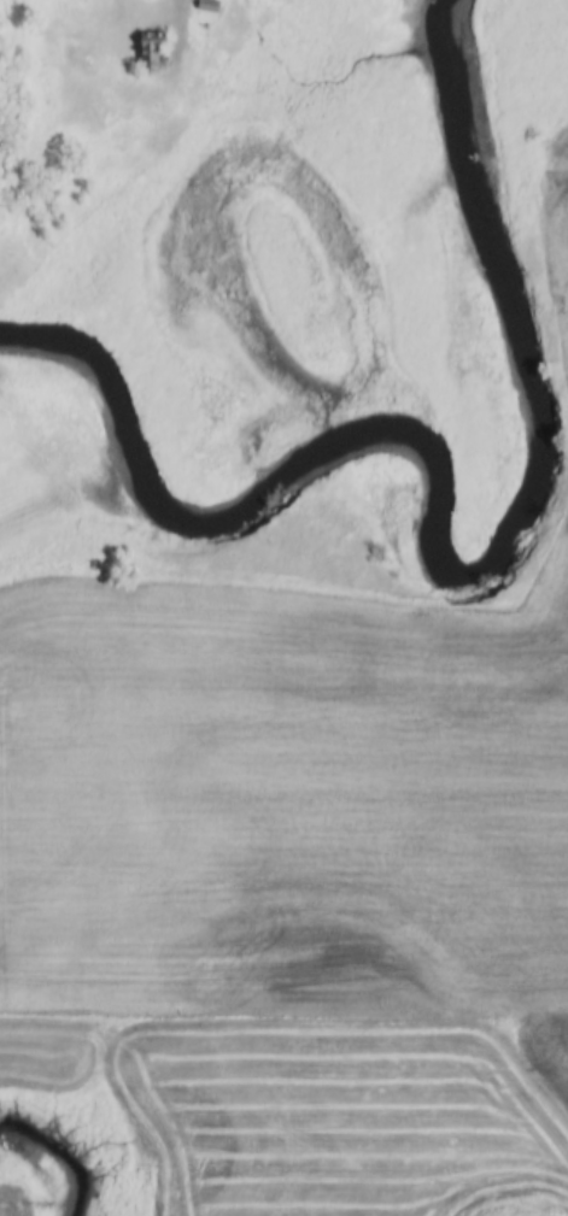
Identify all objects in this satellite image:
building: (204, 7)
road: (185, 19)
river: (441, 539)

